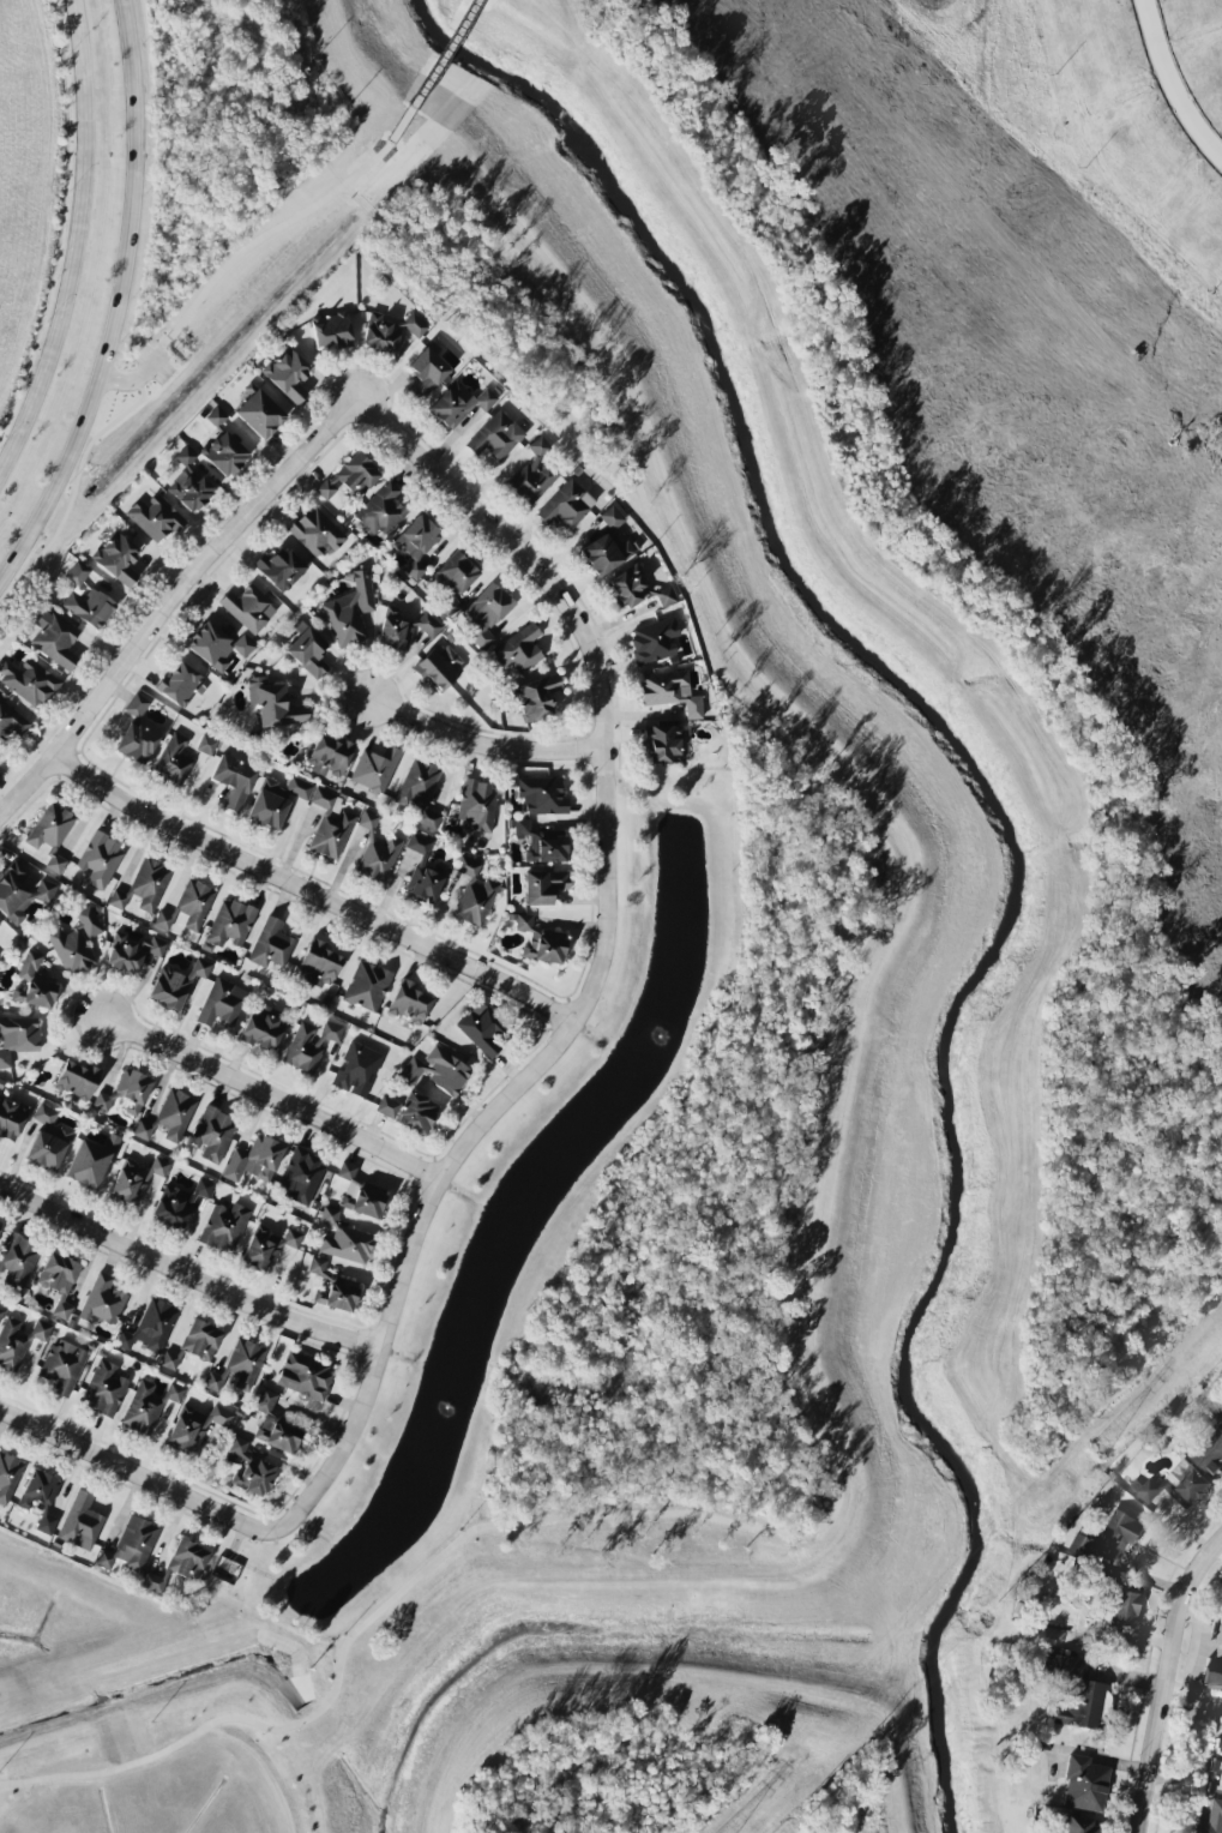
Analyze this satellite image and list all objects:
road: (434, 71)
road: (1169, 85)
road: (271, 230)
road: (80, 247)
road: (1016, 262)
road: (121, 307)
building: (415, 325)
building: (332, 331)
building: (380, 335)
building: (426, 372)
building: (288, 375)
building: (458, 404)
building: (259, 415)
building: (216, 417)
building: (495, 437)
building: (224, 455)
building: (534, 474)
building: (351, 477)
building: (189, 483)
building: (566, 506)
building: (380, 511)
building: (155, 518)
building: (317, 533)
building: (416, 545)
building: (607, 546)
building: (118, 559)
building: (279, 569)
building: (77, 573)
building: (455, 575)
building: (628, 587)
building: (666, 597)
road: (170, 600)
building: (90, 607)
building: (248, 608)
building: (350, 612)
building: (486, 614)
road: (1095, 618)
building: (428, 626)
building: (395, 635)
building: (55, 639)
building: (654, 641)
building: (243, 645)
building: (210, 647)
building: (519, 649)
building: (307, 650)
building: (439, 667)
building: (29, 681)
building: (180, 685)
building: (670, 692)
building: (272, 704)
building: (137, 705)
building: (11, 723)
building: (137, 743)
road: (484, 744)
building: (662, 744)
building: (206, 745)
building: (330, 757)
building: (173, 759)
building: (374, 769)
building: (233, 781)
building: (420, 792)
building: (542, 795)
building: (276, 800)
building: (477, 806)
building: (330, 827)
building: (52, 834)
river: (1011, 839)
building: (417, 845)
building: (542, 845)
building: (377, 852)
building: (100, 860)
building: (426, 881)
building: (143, 887)
building: (543, 887)
road: (312, 889)
building: (22, 895)
building: (474, 895)
building: (194, 903)
building: (163, 921)
building: (0, 924)
building: (229, 925)
building: (76, 943)
building: (540, 943)
building: (271, 945)
building: (132, 951)
road: (602, 960)
building: (318, 963)
building: (201, 968)
building: (32, 984)
building: (367, 986)
building: (169, 988)
building: (222, 1003)
building: (409, 1003)
building: (481, 1028)
building: (263, 1029)
building: (19, 1042)
building: (311, 1045)
building: (356, 1070)
building: (437, 1070)
building: (77, 1081)
building: (132, 1090)
road: (275, 1095)
building: (102, 1102)
building: (386, 1106)
building: (175, 1113)
building: (44, 1114)
building: (416, 1114)
building: (11, 1118)
building: (143, 1130)
building: (213, 1135)
building: (112, 1143)
building: (48, 1147)
building: (254, 1160)
building: (88, 1164)
building: (347, 1171)
building: (300, 1178)
building: (134, 1180)
road: (809, 1200)
building: (362, 1203)
building: (177, 1204)
building: (224, 1227)
building: (344, 1240)
building: (267, 1248)
building: (17, 1260)
building: (317, 1267)
road: (186, 1270)
building: (59, 1281)
building: (336, 1298)
building: (102, 1302)
building: (1, 1314)
building: (150, 1327)
building: (200, 1340)
building: (18, 1341)
building: (170, 1360)
building: (245, 1363)
building: (64, 1366)
building: (306, 1376)
building: (213, 1382)
building: (106, 1389)
building: (265, 1401)
building: (148, 1406)
road: (4, 1424)
building: (195, 1426)
building: (277, 1436)
road: (18, 1441)
building: (1210, 1453)
power tower: (1101, 1454)
road: (56, 1459)
building: (249, 1468)
building: (7, 1477)
road: (145, 1478)
road: (112, 1480)
road: (67, 1483)
building: (1179, 1486)
building: (38, 1490)
road: (113, 1494)
road: (152, 1503)
road: (125, 1514)
building: (47, 1524)
building: (83, 1525)
road: (201, 1527)
road: (168, 1537)
building: (1112, 1537)
building: (130, 1550)
building: (188, 1562)
building: (155, 1585)
building: (1122, 1609)
building: (1214, 1679)
road: (1164, 1681)
building: (1076, 1693)
road: (264, 1766)
building: (1216, 1772)
building: (1084, 1785)
building: (1210, 1819)
building: (1079, 1826)

